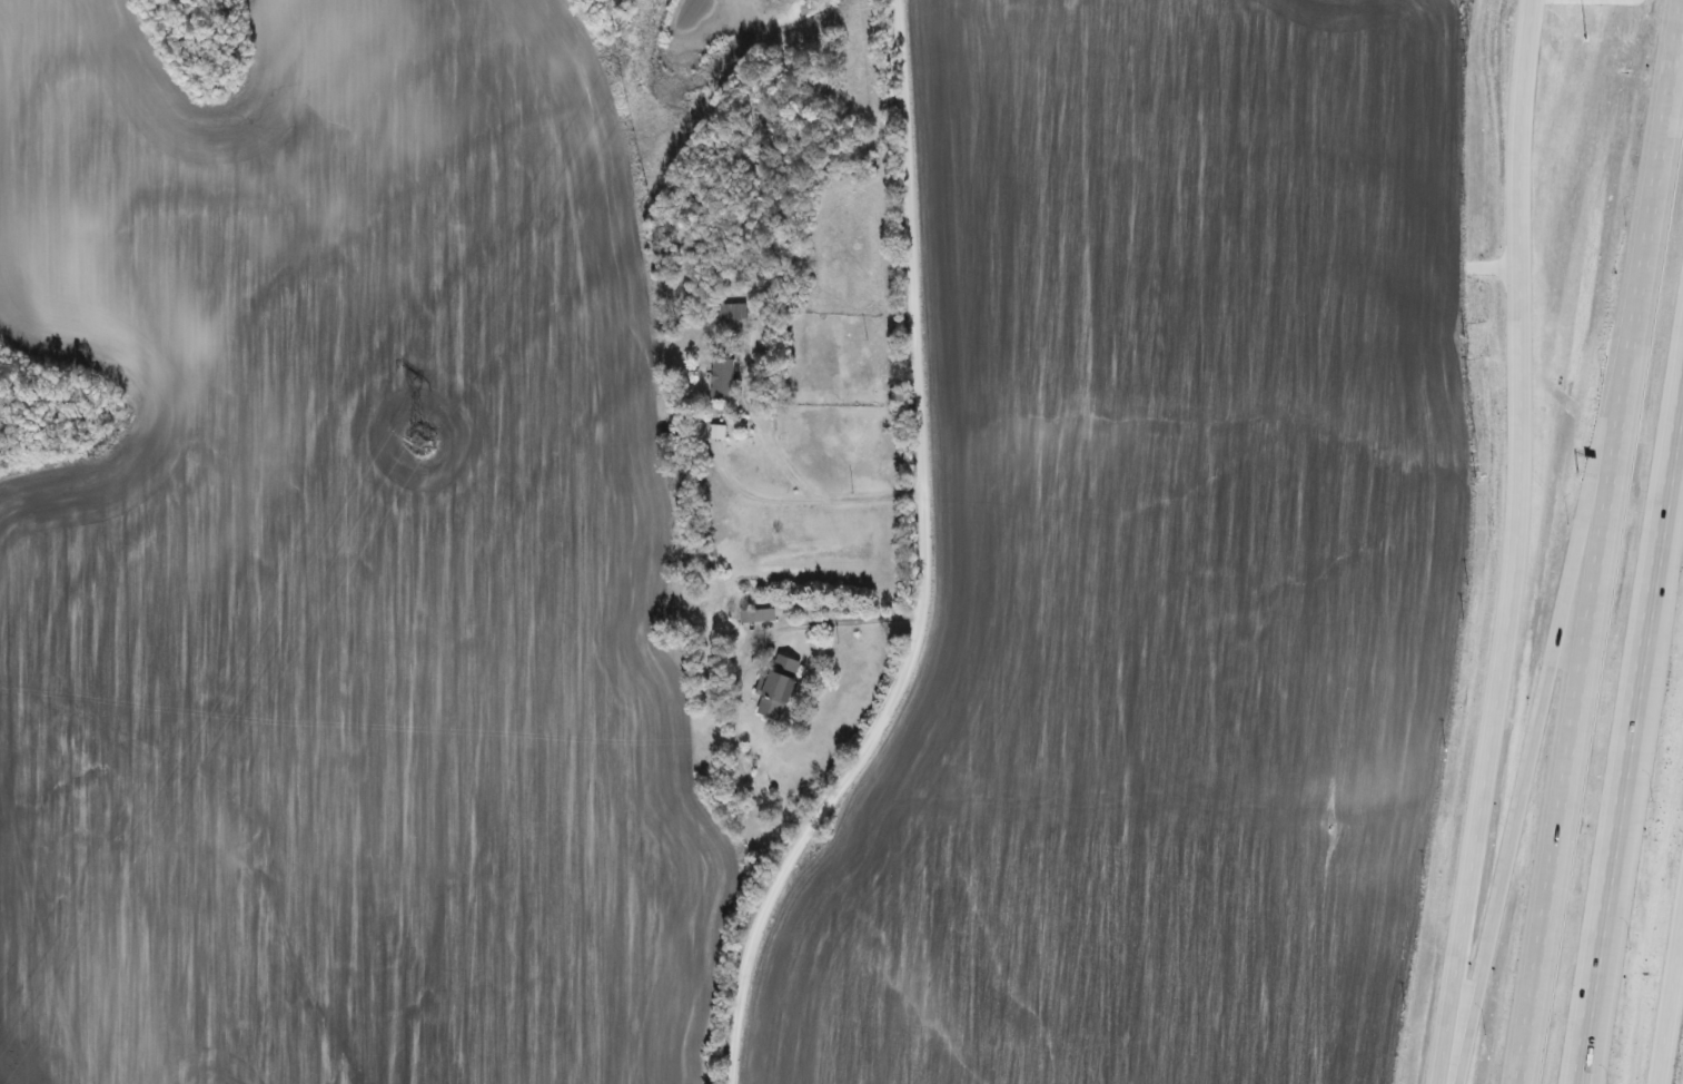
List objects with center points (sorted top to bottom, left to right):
road: (1662, 159)
building: (727, 311)
building: (717, 380)
power tower: (414, 442)
road: (750, 494)
road: (816, 496)
road: (1516, 543)
road: (924, 566)
building: (753, 615)
road: (735, 662)
building: (772, 686)
road: (1542, 687)
road: (1582, 688)
road: (1626, 708)
road: (1610, 884)
road: (1669, 996)

